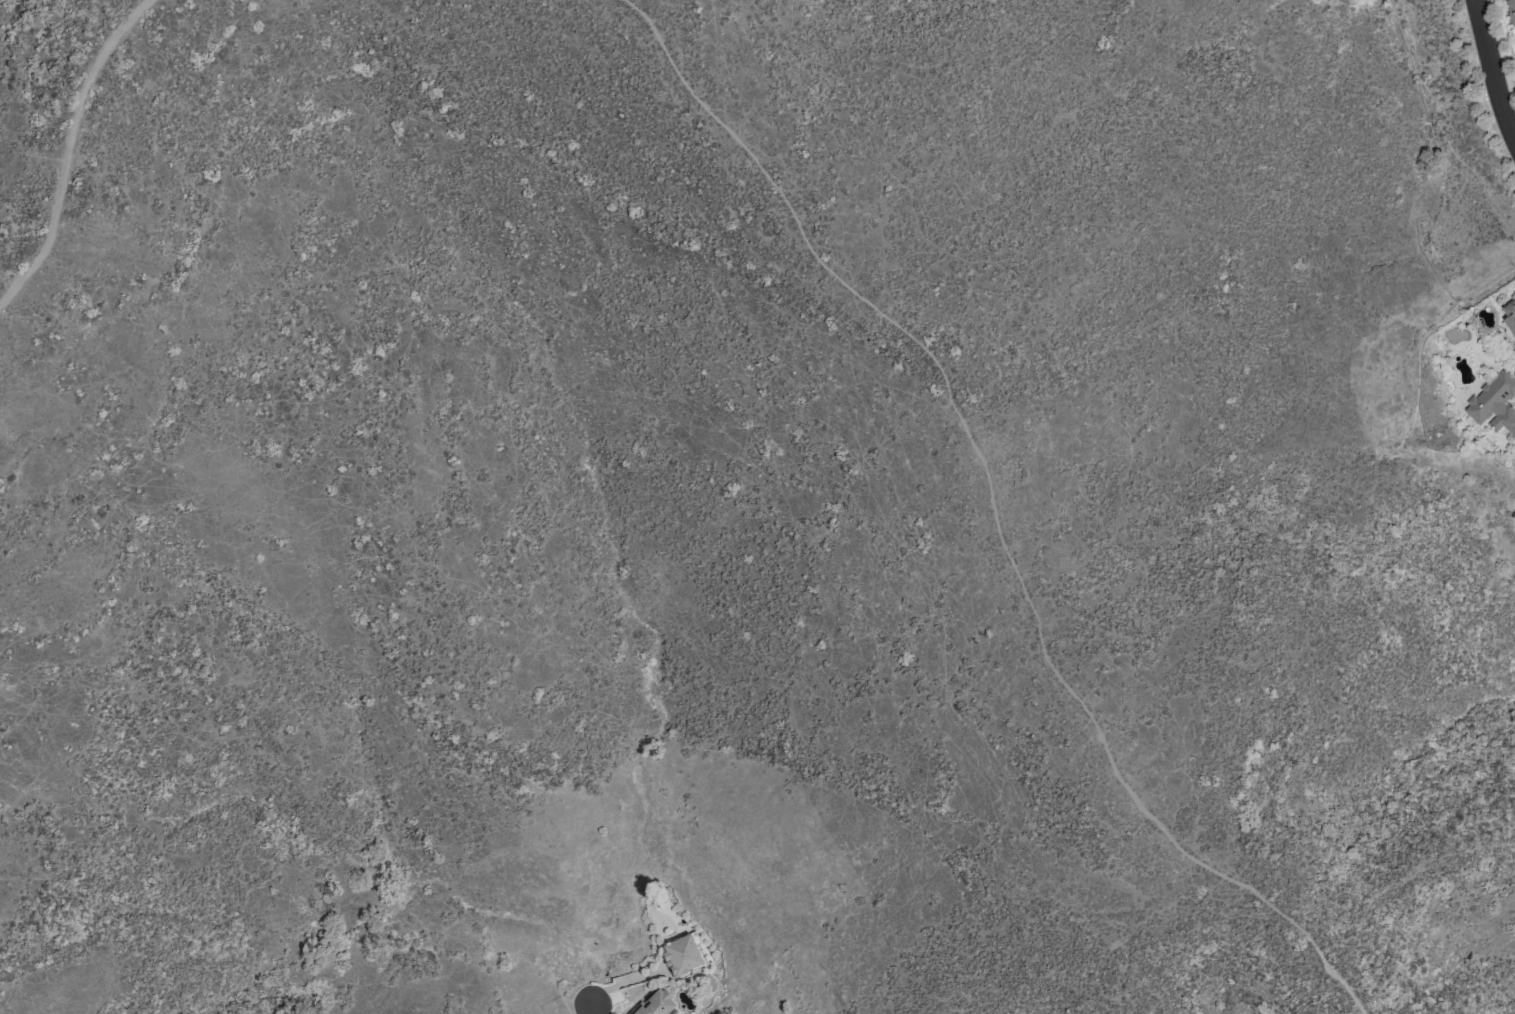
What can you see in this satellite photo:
building: (1512, 10)
road: (1489, 69)
road: (68, 149)
building: (1510, 315)
building: (1494, 403)
road: (993, 509)
building: (680, 955)
building: (654, 1003)
road: (592, 1008)

